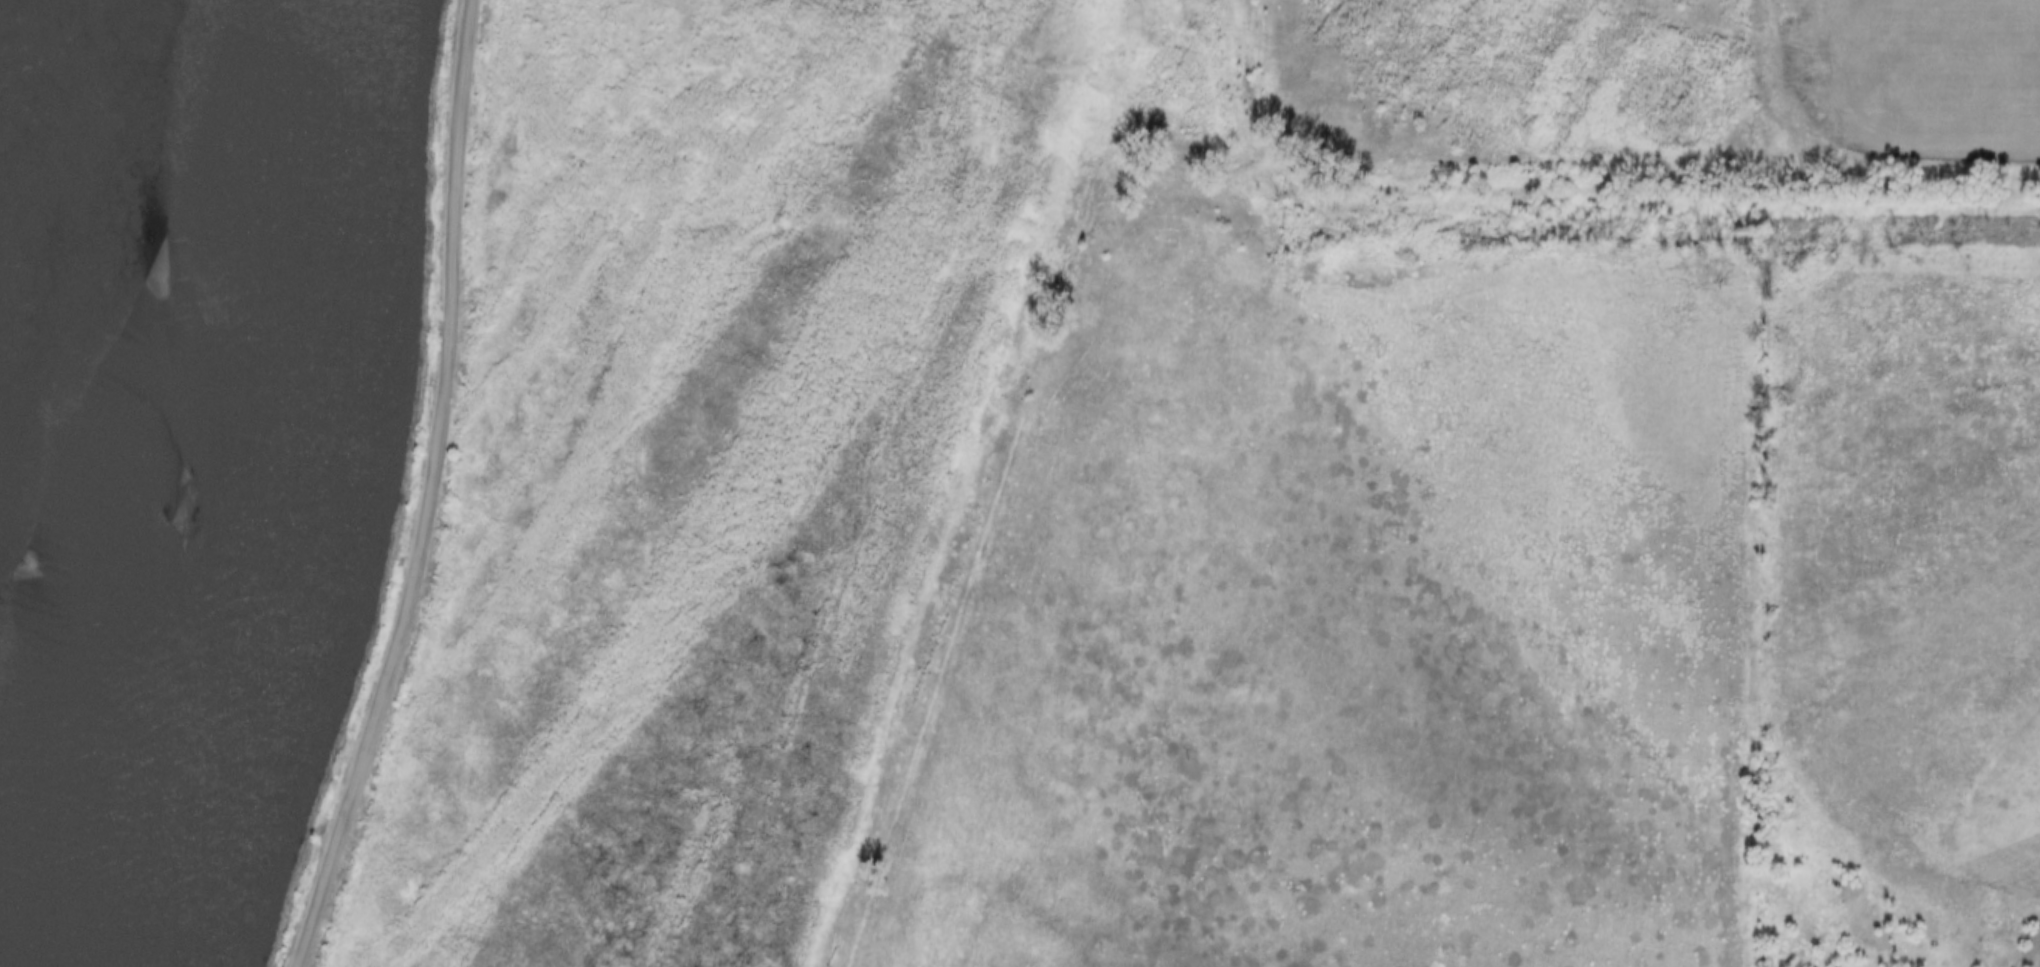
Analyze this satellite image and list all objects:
river: (94, 218)
road: (428, 491)

